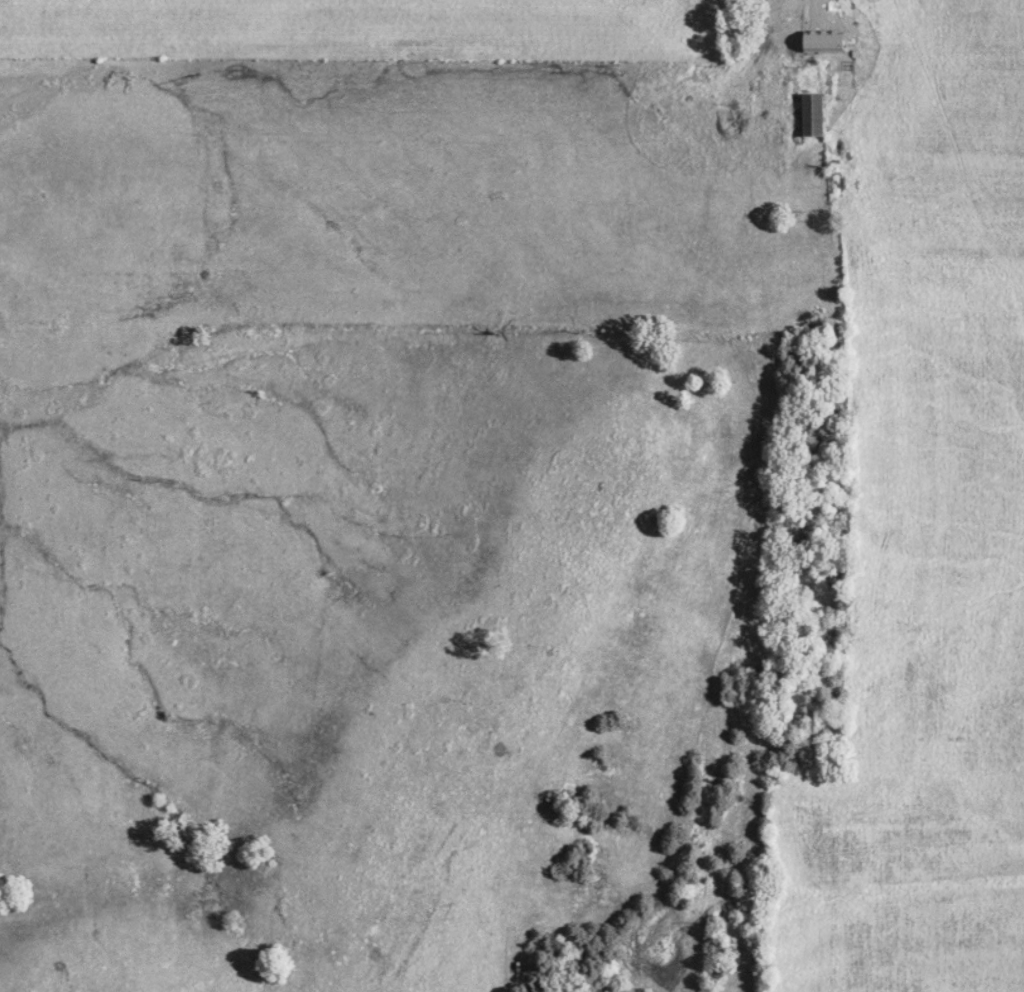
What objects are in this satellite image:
road: (794, 40)
building: (808, 116)

